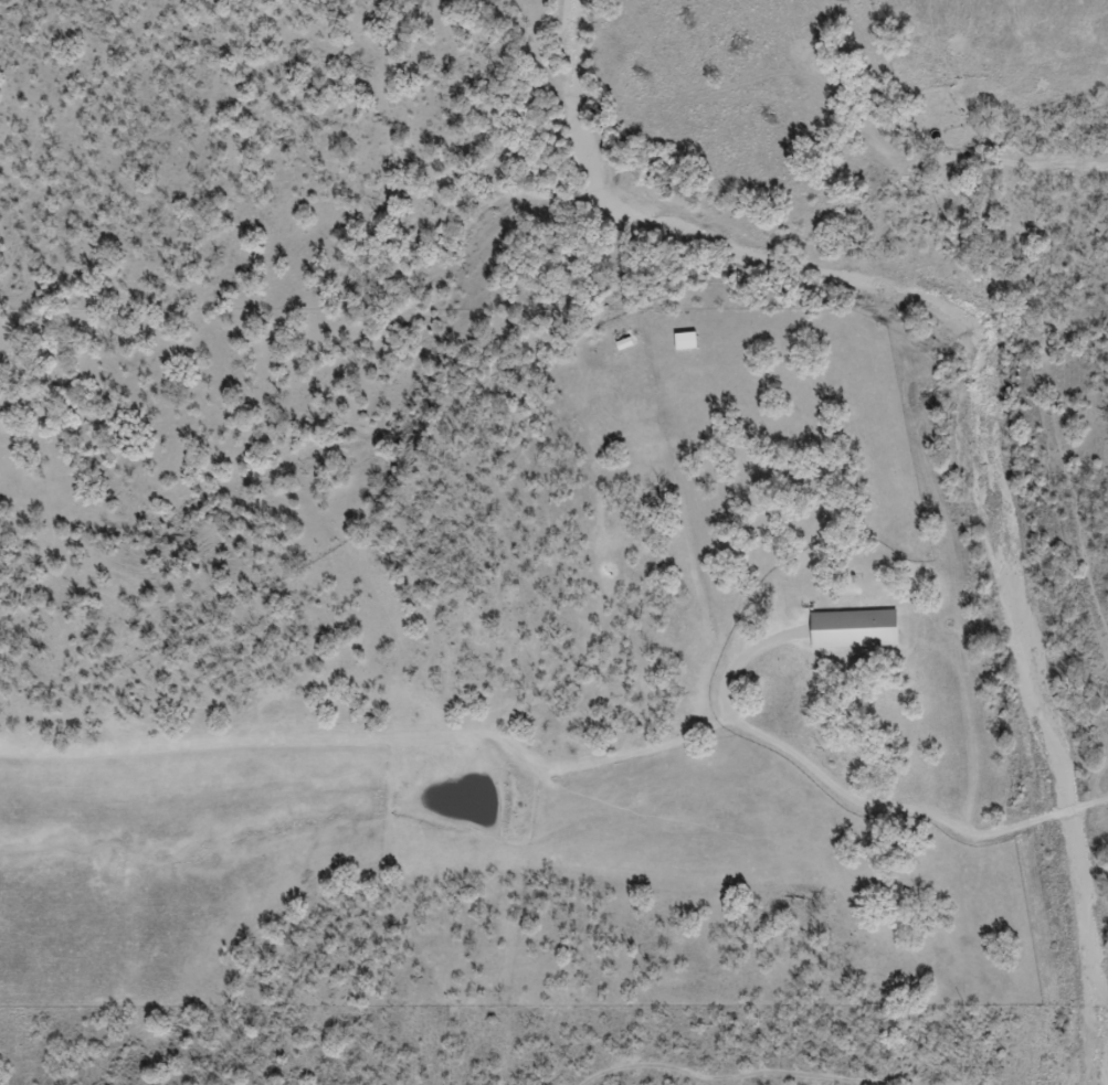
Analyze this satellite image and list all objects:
building: (855, 630)

